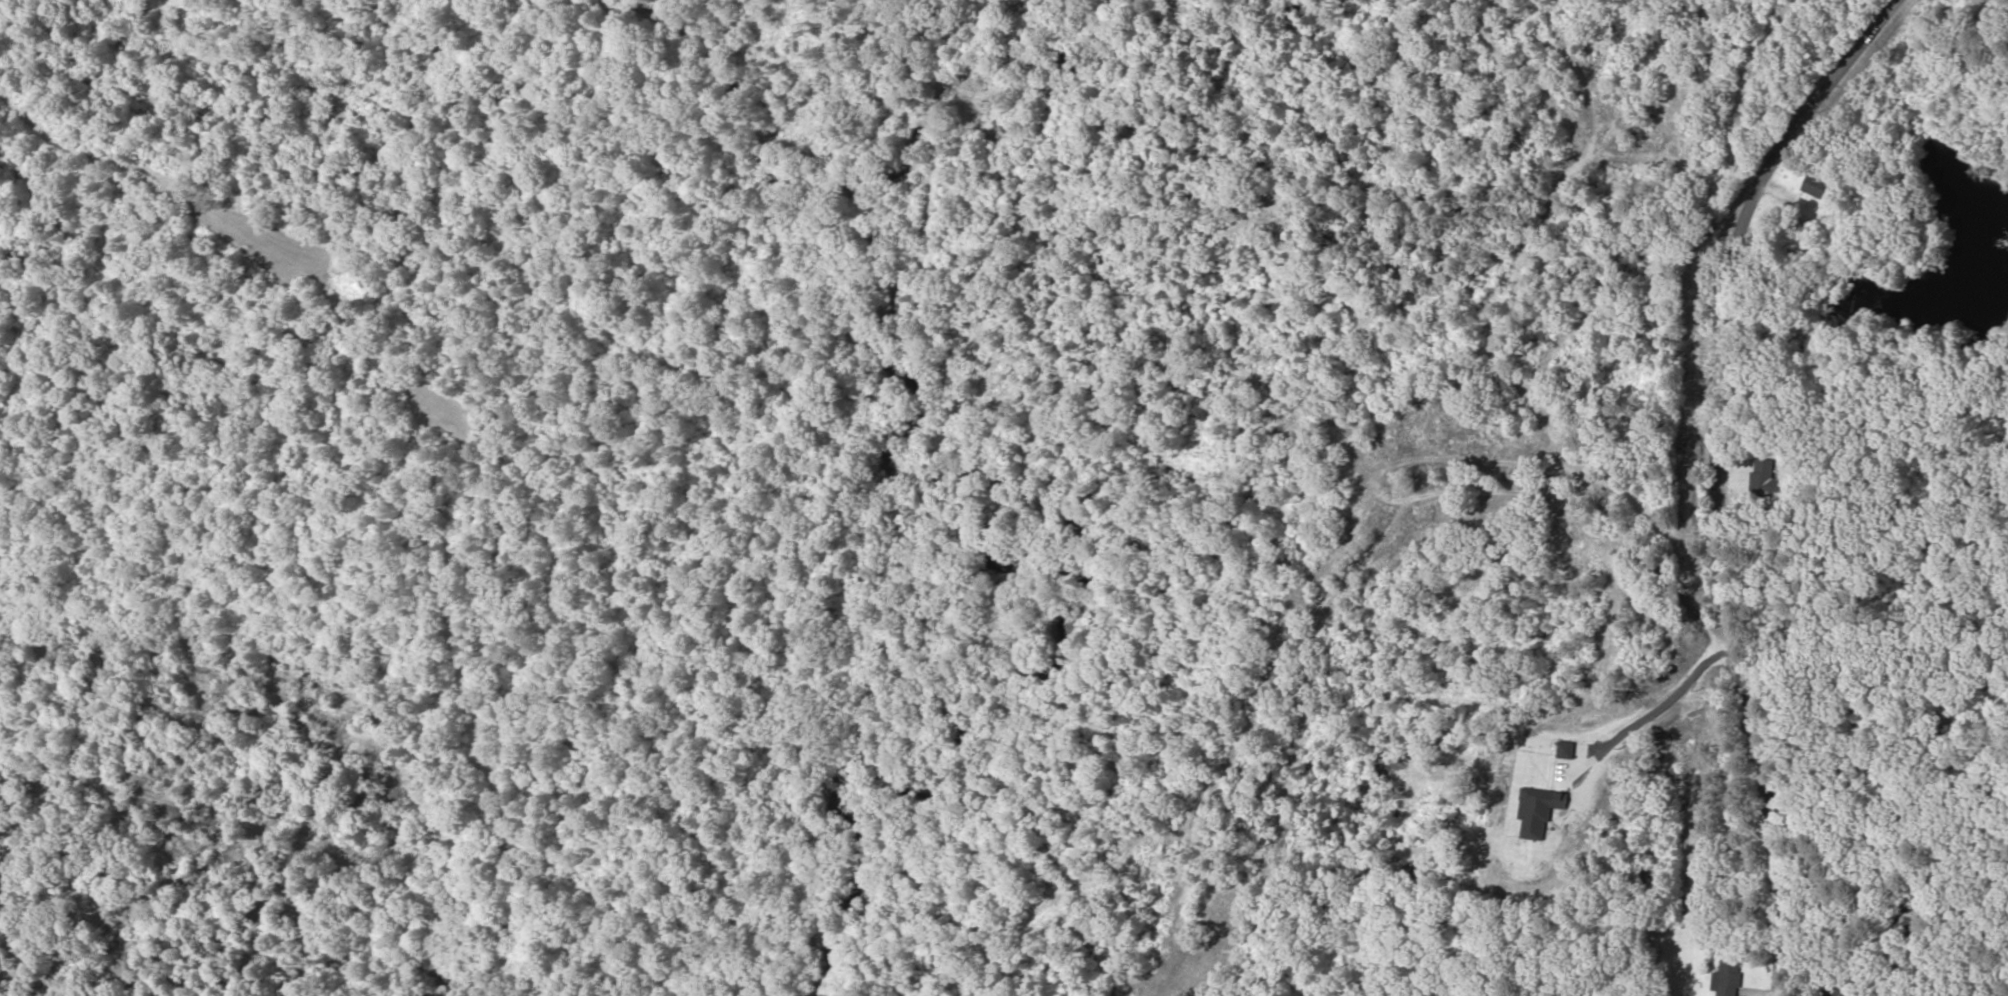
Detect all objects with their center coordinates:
building: (1819, 188)
building: (1767, 479)
road: (1707, 481)
building: (1908, 927)
building: (1727, 976)

